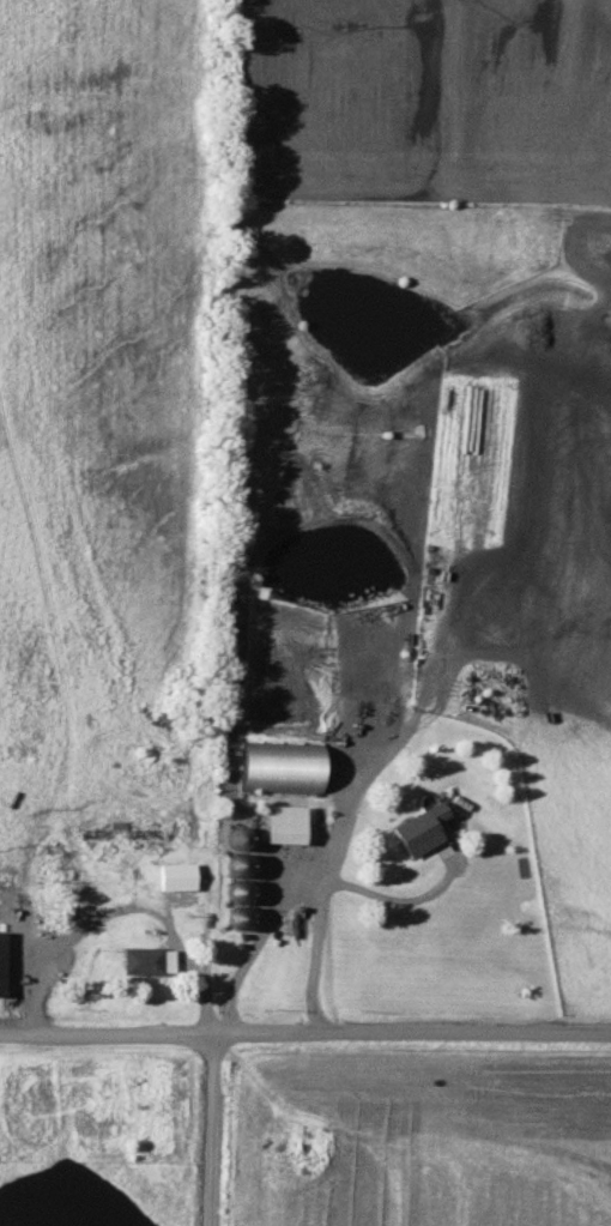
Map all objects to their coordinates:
building: (277, 826)
building: (418, 833)
road: (315, 918)
road: (304, 1029)
road: (214, 1127)

